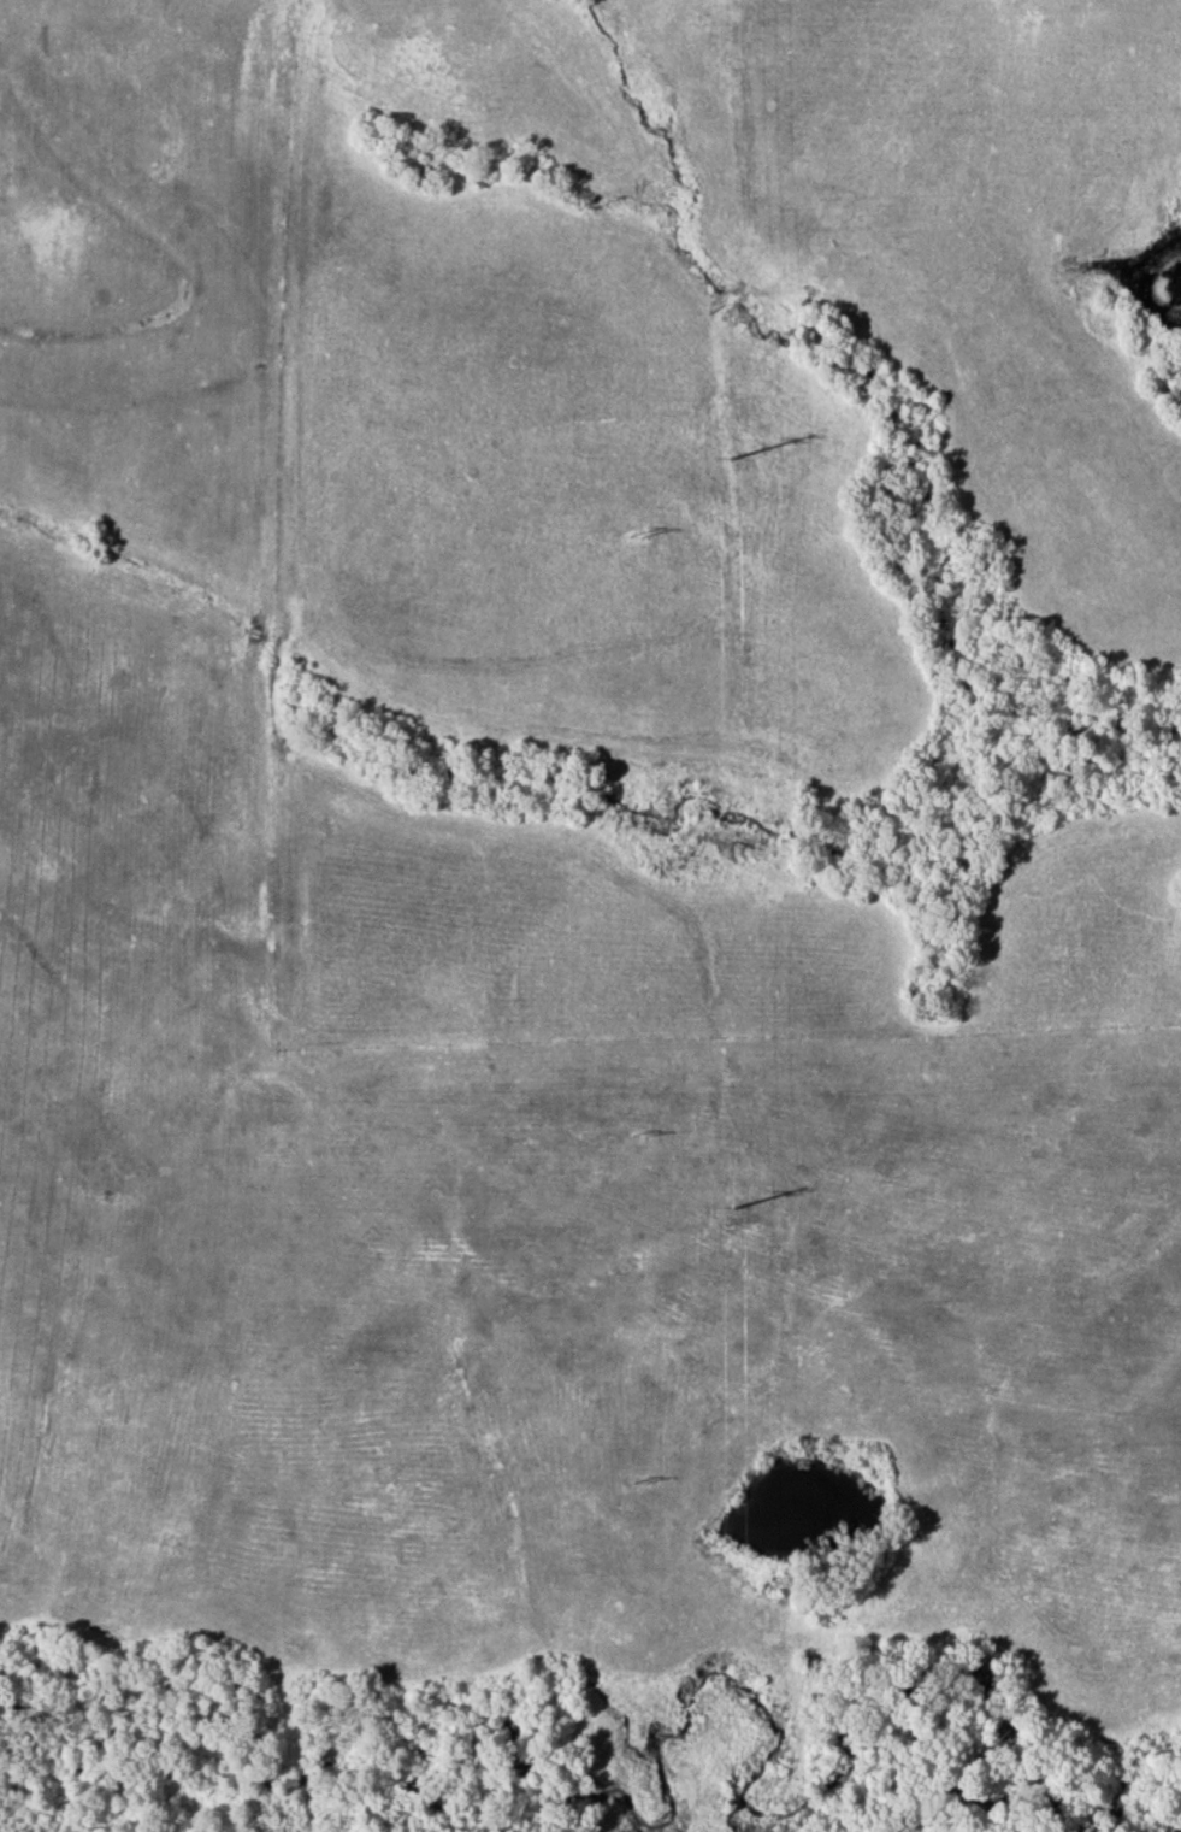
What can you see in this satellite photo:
power tower: (725, 454)
power tower: (631, 541)
power tower: (631, 1135)
power tower: (731, 1209)
power tower: (636, 1484)

